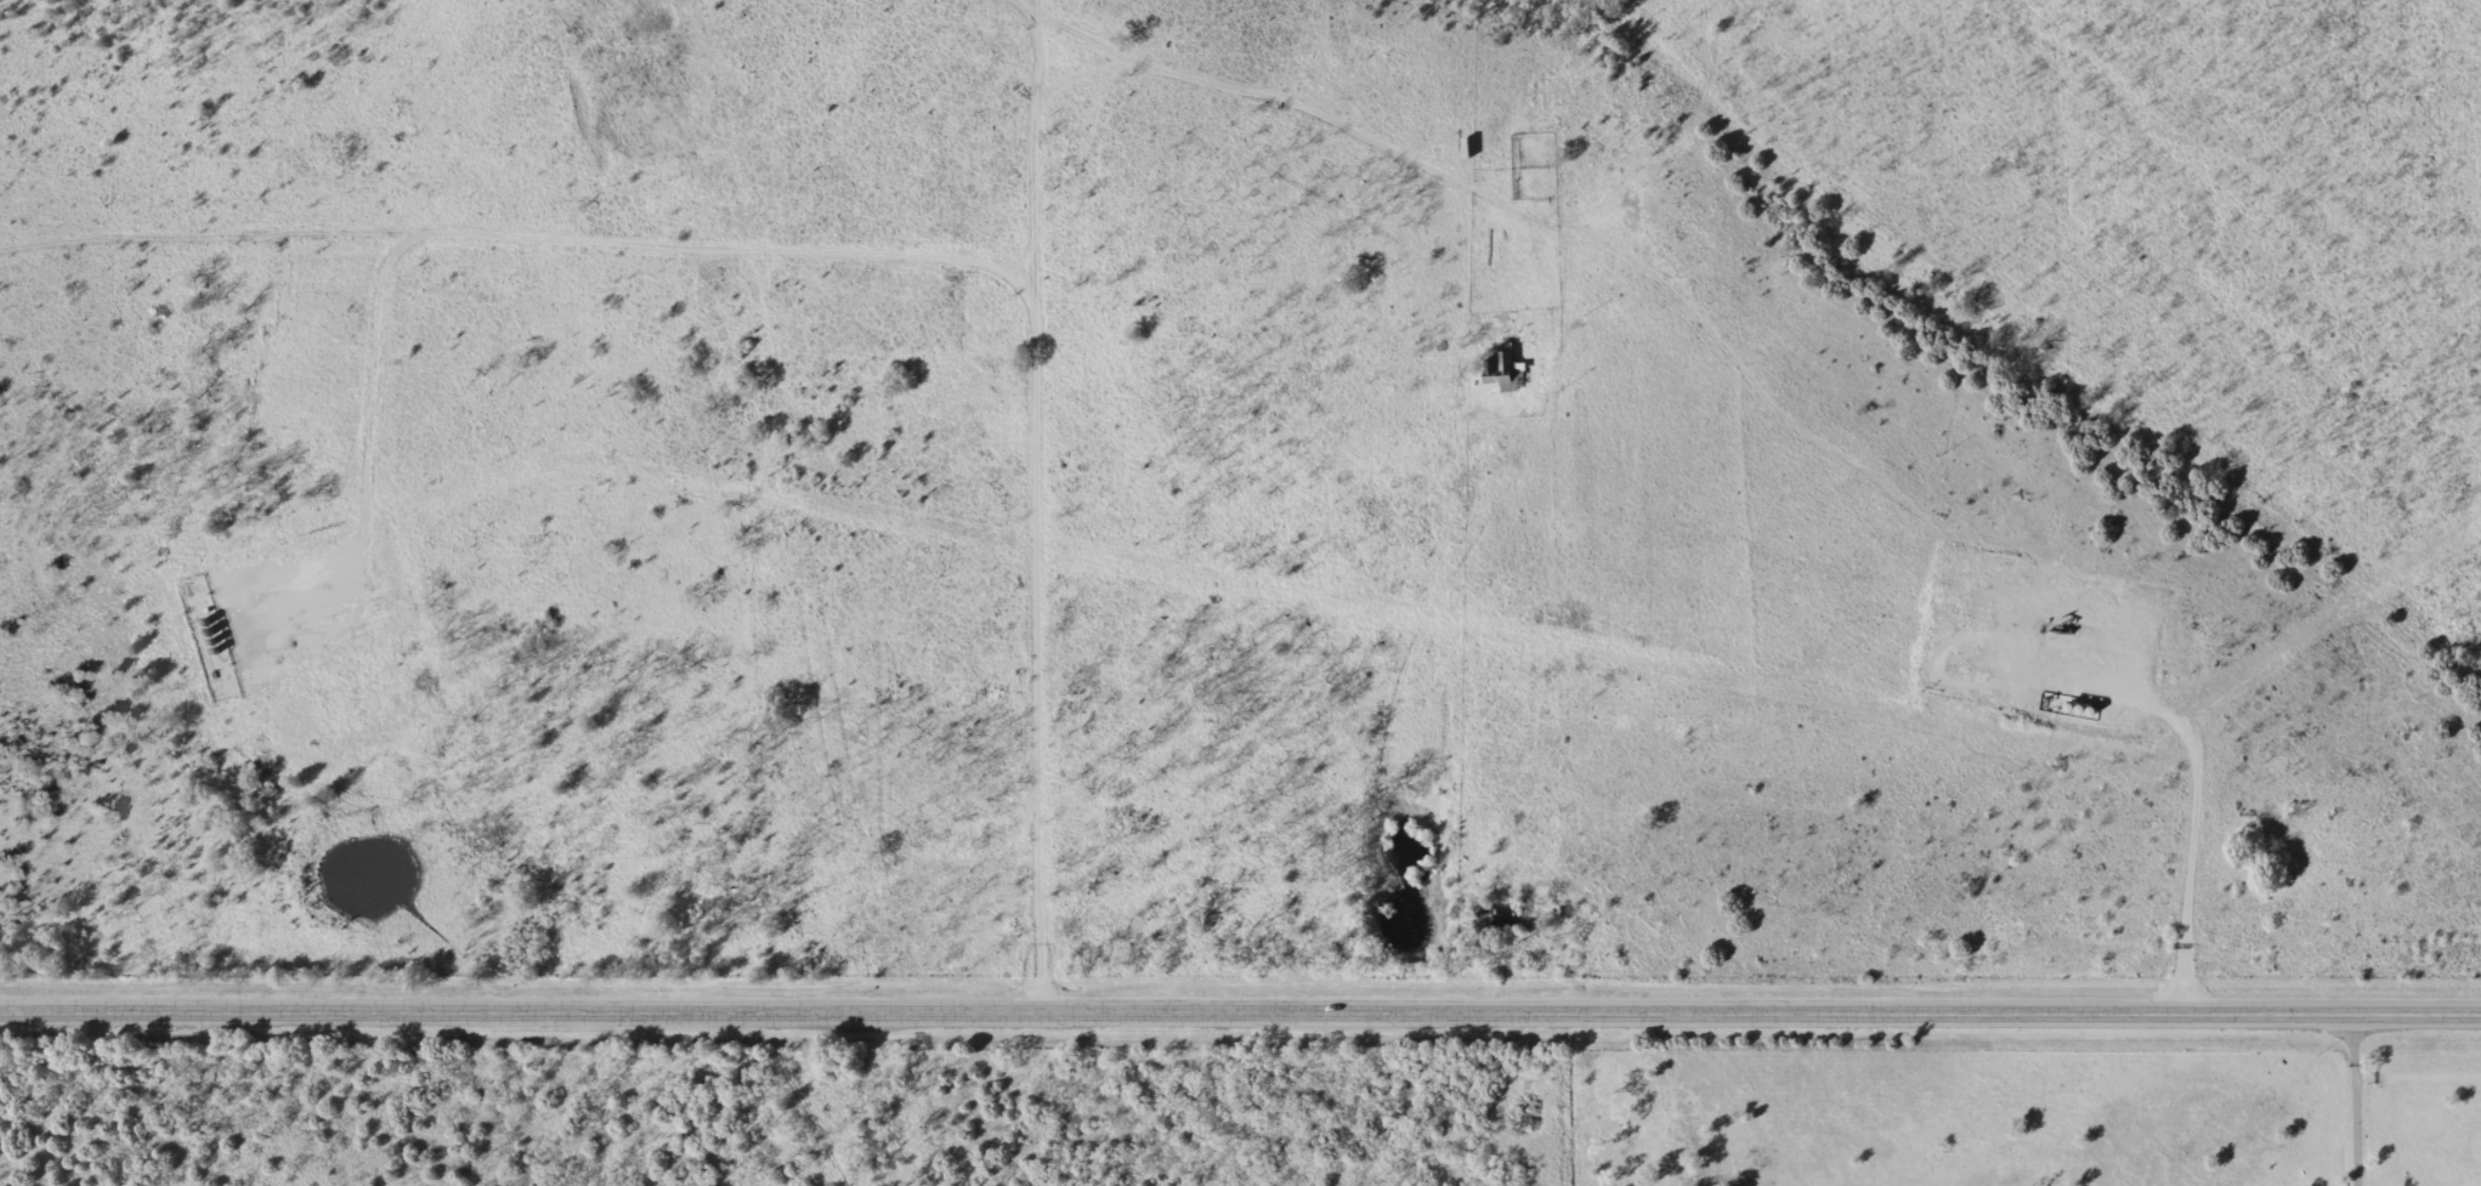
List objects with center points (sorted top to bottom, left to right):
road: (1089, 74)
road: (1350, 126)
road: (1030, 153)
road: (876, 255)
building: (1500, 374)
road: (1240, 1010)
road: (2351, 1095)
road: (800, 1099)

